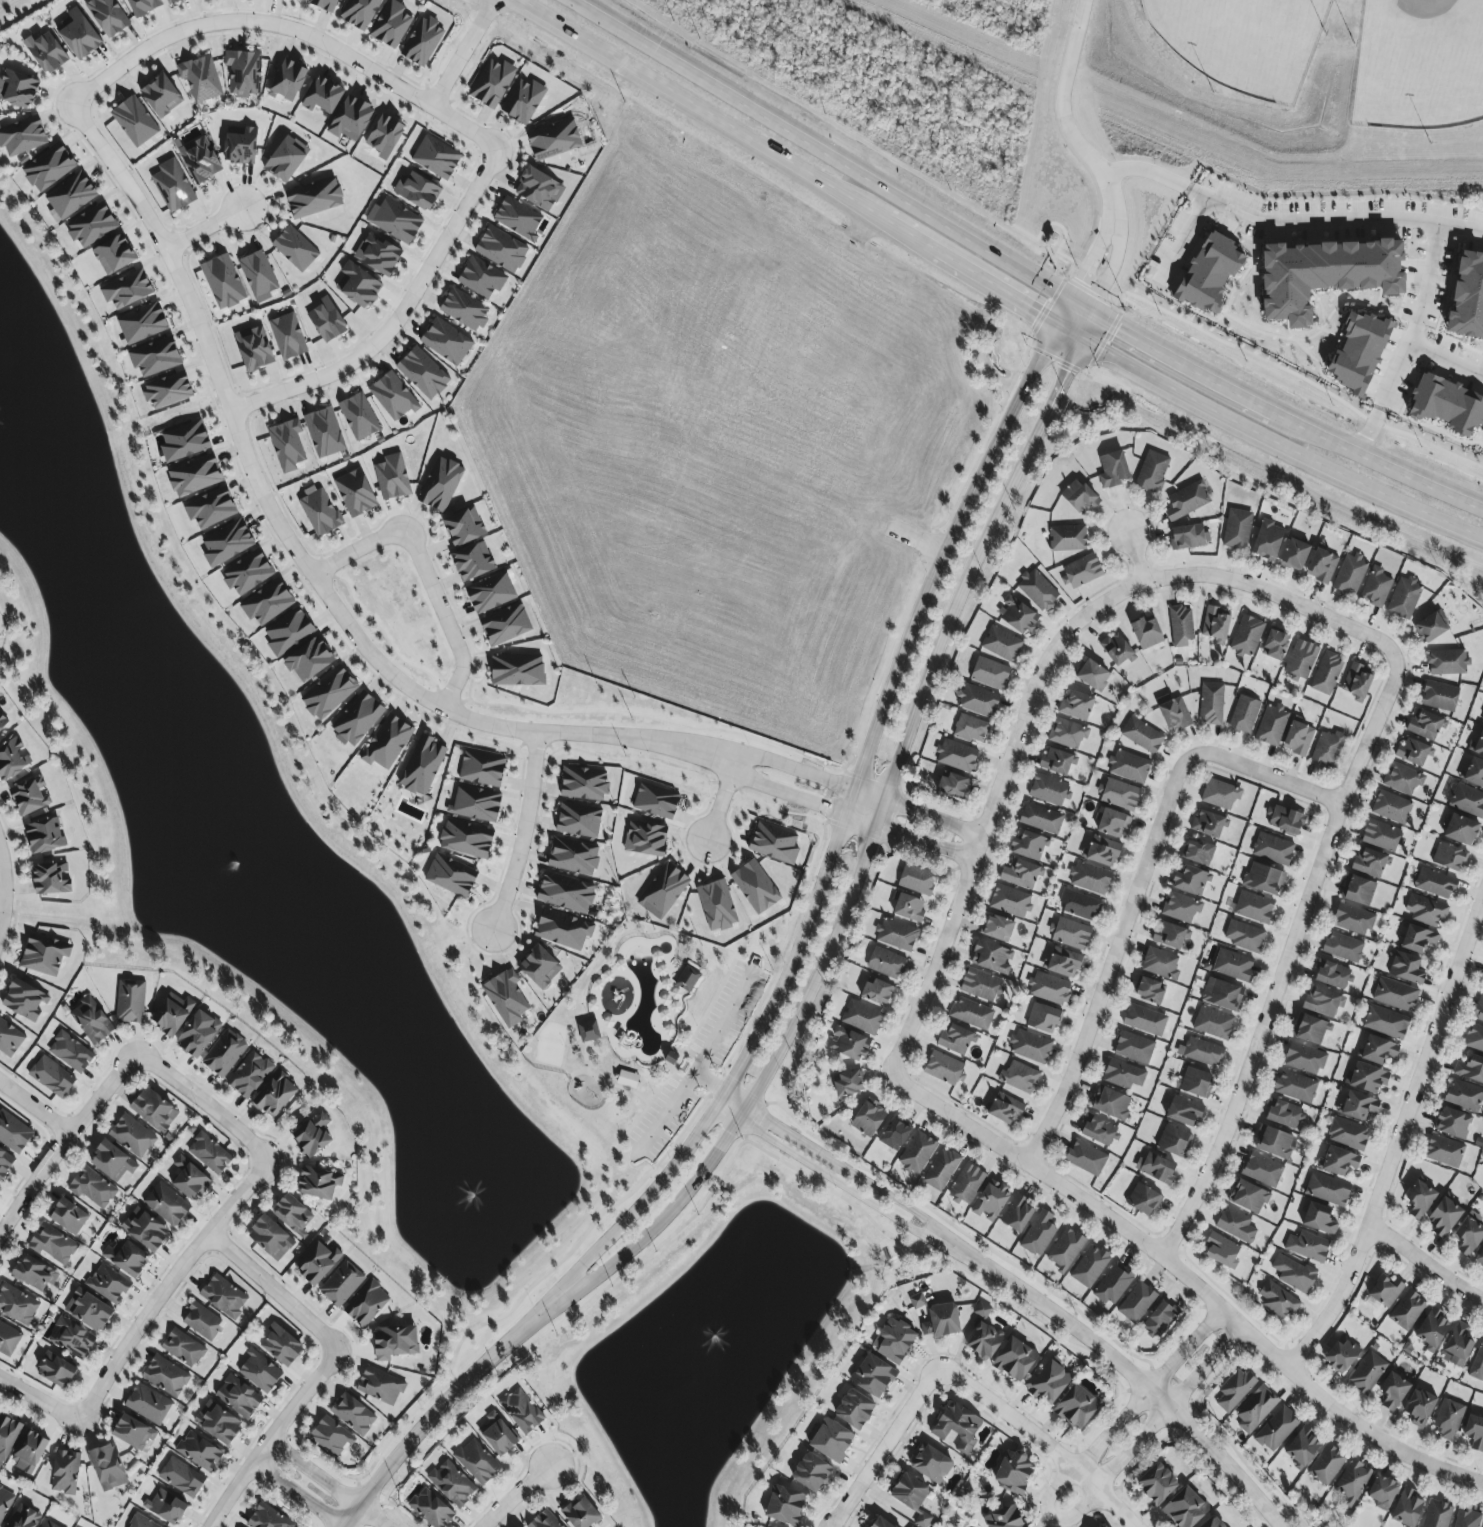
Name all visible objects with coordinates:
building: (172, 1)
building: (324, 4)
building: (144, 6)
building: (359, 13)
building: (108, 16)
building: (391, 24)
road: (289, 28)
building: (78, 34)
building: (422, 41)
park: (1235, 43)
building: (46, 52)
road: (463, 53)
building: (243, 73)
building: (200, 78)
building: (288, 80)
building: (492, 83)
building: (18, 89)
building: (161, 96)
building: (323, 96)
building: (523, 101)
road: (692, 104)
road: (1062, 114)
park: (1240, 116)
building: (351, 119)
building: (134, 121)
building: (22, 135)
building: (385, 136)
building: (554, 139)
building: (240, 145)
building: (436, 157)
road: (831, 157)
building: (200, 159)
building: (286, 159)
building: (49, 167)
building: (173, 186)
building: (538, 189)
building: (417, 191)
building: (71, 195)
building: (314, 198)
building: (518, 218)
building: (395, 221)
road: (1113, 222)
road: (1288, 222)
road: (890, 223)
building: (91, 225)
road: (206, 228)
road: (1185, 240)
building: (295, 249)
building: (501, 249)
building: (378, 254)
building: (114, 255)
building: (1209, 272)
building: (1325, 275)
building: (258, 276)
building: (481, 278)
road: (985, 280)
building: (223, 282)
traffic signals: (1082, 282)
building: (358, 285)
building: (127, 289)
building: (1468, 298)
building: (464, 310)
traffic signals: (1038, 310)
road: (400, 316)
building: (326, 320)
building: (142, 323)
road: (1070, 328)
traffic signals: (1118, 328)
building: (288, 336)
building: (446, 341)
road: (1411, 343)
building: (254, 348)
building: (1358, 352)
building: (155, 357)
road: (1447, 360)
road: (1193, 367)
traffic signals: (1065, 371)
building: (422, 373)
building: (168, 390)
building: (393, 396)
building: (1447, 405)
building: (358, 416)
road: (1154, 429)
building: (324, 432)
building: (184, 441)
building: (288, 444)
road: (1276, 449)
road: (1387, 465)
building: (1112, 469)
building: (1152, 472)
building: (195, 475)
building: (392, 477)
building: (441, 484)
building: (355, 493)
building: (1079, 497)
building: (1186, 501)
building: (211, 508)
building: (319, 512)
building: (464, 526)
building: (1237, 529)
building: (1189, 537)
building: (1067, 538)
road: (937, 540)
building: (1267, 540)
road: (912, 541)
building: (227, 543)
building: (1295, 555)
road: (299, 556)
road: (1135, 556)
road: (928, 558)
building: (473, 562)
building: (1321, 566)
building: (1082, 571)
building: (247, 573)
building: (1350, 574)
road: (425, 575)
building: (1376, 588)
building: (1037, 590)
building: (490, 592)
road: (1274, 595)
building: (1404, 598)
building: (267, 603)
building: (1017, 615)
building: (505, 624)
building: (1216, 624)
building: (1181, 626)
building: (1431, 627)
building: (288, 632)
building: (1146, 632)
building: (1246, 636)
road: (386, 638)
building: (1001, 644)
building: (1274, 645)
building: (1116, 649)
building: (1301, 659)
building: (309, 660)
building: (1447, 662)
building: (517, 670)
building: (989, 673)
building: (1327, 673)
building: (1093, 675)
building: (1357, 682)
building: (329, 693)
building: (1439, 696)
building: (978, 701)
building: (1211, 703)
building: (1076, 706)
building: (1173, 713)
building: (1244, 715)
building: (358, 718)
road: (646, 718)
building: (1482, 718)
building: (3, 720)
building: (1425, 724)
building: (1272, 725)
building: (971, 729)
building: (1067, 733)
building: (1142, 735)
building: (1298, 738)
building: (387, 742)
building: (1477, 746)
building: (1327, 749)
building: (1414, 752)
building: (958, 756)
building: (12, 759)
building: (1057, 762)
building: (1129, 767)
building: (421, 768)
building: (482, 769)
road: (795, 770)
building: (1473, 773)
road: (1263, 776)
building: (1402, 779)
building: (584, 784)
building: (953, 785)
building: (1049, 790)
road: (786, 793)
building: (1120, 794)
building: (1220, 794)
building: (30, 796)
building: (1467, 800)
building: (656, 801)
road: (720, 802)
building: (475, 804)
road: (991, 806)
building: (1391, 807)
road: (918, 813)
building: (1041, 818)
building: (578, 820)
building: (1286, 820)
road: (834, 824)
building: (1113, 824)
building: (1208, 825)
road: (842, 826)
building: (1461, 830)
road: (524, 834)
building: (1382, 835)
building: (44, 836)
road: (910, 838)
building: (466, 839)
building: (646, 839)
building: (774, 843)
road: (866, 846)
building: (1029, 846)
building: (1273, 849)
building: (1101, 852)
building: (1198, 852)
building: (573, 856)
building: (1449, 857)
building: (1369, 863)
fountain: (246, 865)
building: (1020, 874)
building: (451, 876)
building: (1090, 878)
building: (51, 879)
building: (1263, 879)
building: (917, 880)
building: (1191, 881)
building: (1434, 884)
road: (2, 887)
building: (755, 887)
building: (1358, 890)
building: (663, 891)
building: (565, 892)
building: (1010, 901)
building: (716, 905)
building: (1080, 905)
building: (1180, 907)
building: (908, 908)
building: (1254, 908)
building: (1425, 910)
building: (1352, 920)
building: (997, 928)
building: (562, 930)
building: (1071, 934)
building: (896, 935)
building: (1168, 935)
building: (1244, 936)
building: (1418, 939)
building: (1343, 947)
building: (44, 954)
building: (992, 957)
road: (1286, 961)
road: (1110, 962)
building: (886, 963)
building: (1062, 963)
building: (1161, 964)
building: (1233, 965)
building: (539, 967)
building: (1406, 968)
building: (1331, 974)
building: (687, 979)
building: (981, 985)
building: (1049, 988)
building: (1482, 989)
building: (1149, 991)
building: (878, 992)
building: (1396, 994)
building: (1222, 995)
building: (506, 998)
building: (24, 1000)
building: (1323, 1001)
building: (130, 1002)
building: (1479, 1010)
parking lot: (725, 1012)
building: (972, 1013)
building: (172, 1014)
building: (862, 1017)
building: (1044, 1018)
building: (1144, 1020)
building: (91, 1021)
building: (1213, 1023)
building: (1387, 1023)
building: (1310, 1029)
building: (588, 1031)
building: (198, 1033)
building: (10, 1039)
building: (956, 1039)
building: (1474, 1039)
building: (848, 1044)
building: (1030, 1046)
building: (1133, 1048)
building: (1379, 1050)
building: (70, 1052)
road: (681, 1052)
building: (1201, 1052)
building: (224, 1053)
building: (1304, 1059)
road: (698, 1062)
building: (943, 1068)
building: (1470, 1069)
building: (1123, 1074)
building: (249, 1075)
building: (51, 1077)
building: (1019, 1077)
building: (1367, 1078)
building: (627, 1079)
building: (1195, 1082)
building: (848, 1083)
road: (707, 1084)
road: (717, 1084)
building: (1296, 1087)
road: (604, 1089)
building: (275, 1095)
building: (1465, 1095)
road: (734, 1103)
building: (1111, 1103)
road: (204, 1104)
building: (1358, 1106)
road: (33, 1109)
building: (1005, 1109)
building: (154, 1110)
building: (1184, 1112)
building: (1282, 1113)
parking lot: (658, 1119)
building: (868, 1119)
building: (1453, 1123)
building: (1098, 1130)
building: (13, 1133)
building: (1348, 1134)
building: (132, 1135)
building: (312, 1135)
building: (894, 1135)
road: (1396, 1138)
road: (62, 1139)
building: (1174, 1141)
building: (1273, 1142)
building: (1444, 1151)
building: (209, 1153)
building: (917, 1153)
building: (1086, 1158)
building: (112, 1161)
building: (1340, 1161)
building: (5, 1162)
building: (1156, 1168)
building: (941, 1170)
building: (1262, 1170)
road: (849, 1172)
building: (190, 1179)
building: (318, 1182)
building: (967, 1183)
road: (839, 1186)
building: (92, 1187)
building: (1328, 1189)
building: (1248, 1197)
fountain: (485, 1199)
building: (1143, 1199)
building: (1420, 1199)
building: (991, 1201)
building: (167, 1204)
road: (1095, 1207)
building: (293, 1214)
building: (1017, 1214)
building: (68, 1215)
building: (1444, 1217)
building: (1319, 1219)
building: (1236, 1225)
building: (145, 1229)
building: (1039, 1234)
building: (1468, 1236)
building: (270, 1238)
building: (53, 1244)
building: (1307, 1246)
building: (1065, 1249)
building: (1221, 1251)
building: (126, 1257)
building: (1480, 1260)
building: (317, 1262)
road: (1424, 1264)
building: (1089, 1267)
building: (1293, 1273)
building: (33, 1274)
building: (108, 1283)
building: (341, 1284)
building: (1113, 1285)
road: (165, 1286)
building: (1385, 1291)
road: (273, 1293)
building: (224, 1296)
building: (917, 1300)
building: (1277, 1301)
building: (1137, 1302)
building: (366, 1304)
building: (17, 1305)
building: (88, 1310)
building: (1407, 1311)
building: (1160, 1319)
building: (202, 1321)
building: (941, 1321)
building: (1432, 1329)
fountain: (737, 1330)
building: (984, 1335)
building: (71, 1338)
building: (8, 1339)
building: (894, 1340)
building: (395, 1342)
building: (1460, 1344)
building: (281, 1346)
building: (183, 1348)
building: (1341, 1355)
building: (1015, 1359)
building: (1477, 1364)
road: (1126, 1369)
building: (56, 1370)
building: (259, 1371)
building: (1367, 1372)
building: (165, 1376)
building: (873, 1376)
building: (1048, 1383)
building: (380, 1386)
building: (1234, 1390)
building: (1393, 1391)
building: (238, 1396)
road: (37, 1401)
road: (443, 1402)
building: (148, 1403)
building: (1077, 1406)
building: (1420, 1407)
building: (854, 1409)
building: (1255, 1410)
building: (521, 1411)
building: (353, 1414)
building: (1448, 1419)
building: (218, 1423)
building: (957, 1427)
building: (1276, 1429)
building: (133, 1432)
building: (1474, 1433)
building: (498, 1434)
building: (8, 1436)
building: (331, 1436)
road: (269, 1438)
road: (1376, 1438)
building: (831, 1440)
road: (1043, 1441)
building: (1301, 1447)
road: (885, 1449)
building: (29, 1451)
building: (199, 1451)
road: (1238, 1458)
building: (477, 1461)
building: (931, 1464)
building: (1326, 1465)
building: (108, 1467)
building: (65, 1472)
building: (812, 1472)
building: (1014, 1472)
building: (181, 1477)
road: (329, 1482)
building: (1351, 1482)
building: (452, 1483)
building: (1156, 1483)
building: (909, 1492)
building: (1382, 1492)
road: (297, 1494)
road: (514, 1495)
building: (4, 1502)
building: (785, 1505)
building: (166, 1507)
building: (431, 1508)
building: (1185, 1508)
building: (1406, 1508)
building: (581, 1513)
road: (1051, 1515)
building: (1437, 1515)
building: (24, 1517)
building: (268, 1517)
building: (1004, 1518)
building: (1467, 1519)
building: (544, 1520)
building: (922, 1520)
building: (142, 1522)
building: (880, 1522)
building: (1213, 1522)
building: (48, 1524)
building: (910, 1526)

